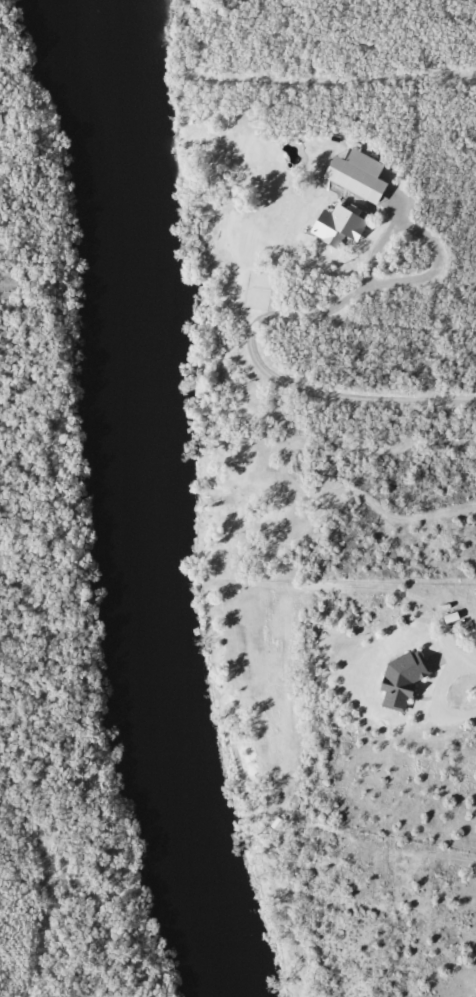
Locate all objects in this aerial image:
building: (362, 175)
building: (343, 225)
river: (128, 506)
building: (407, 679)

